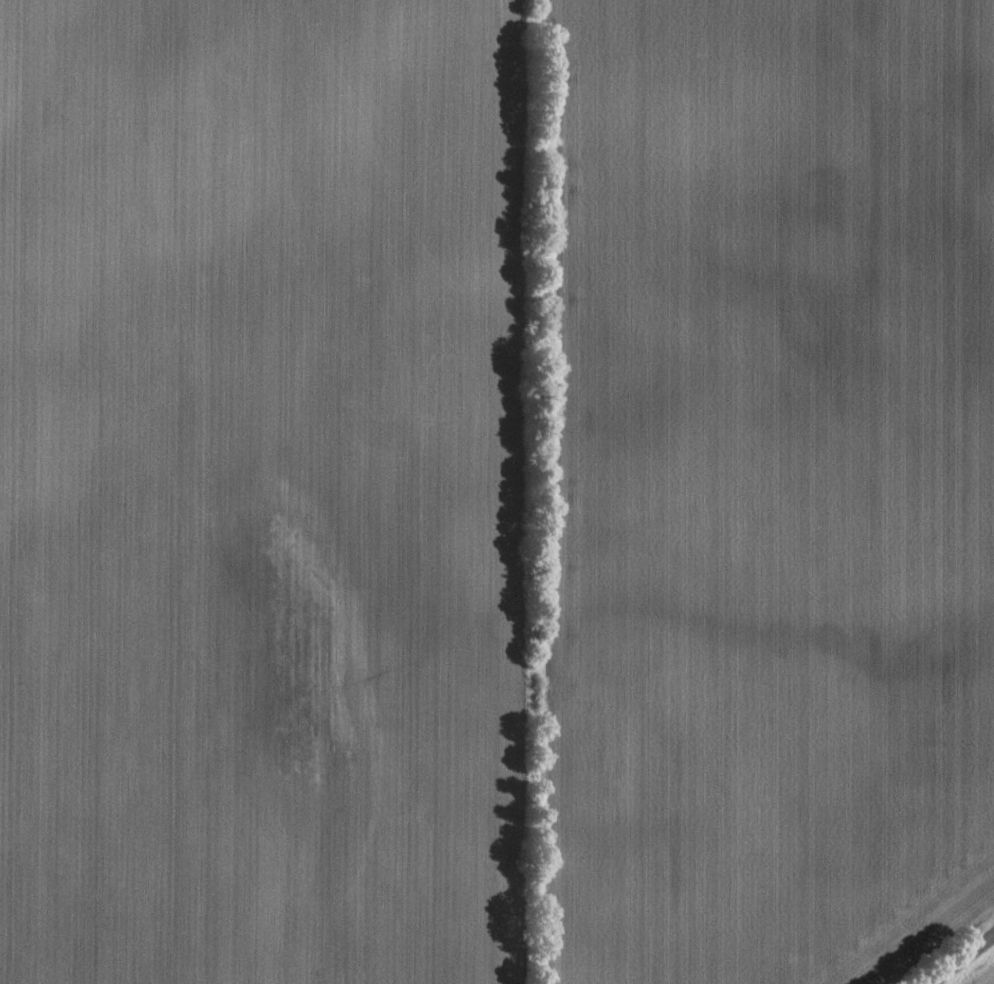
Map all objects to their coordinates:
road: (960, 958)

